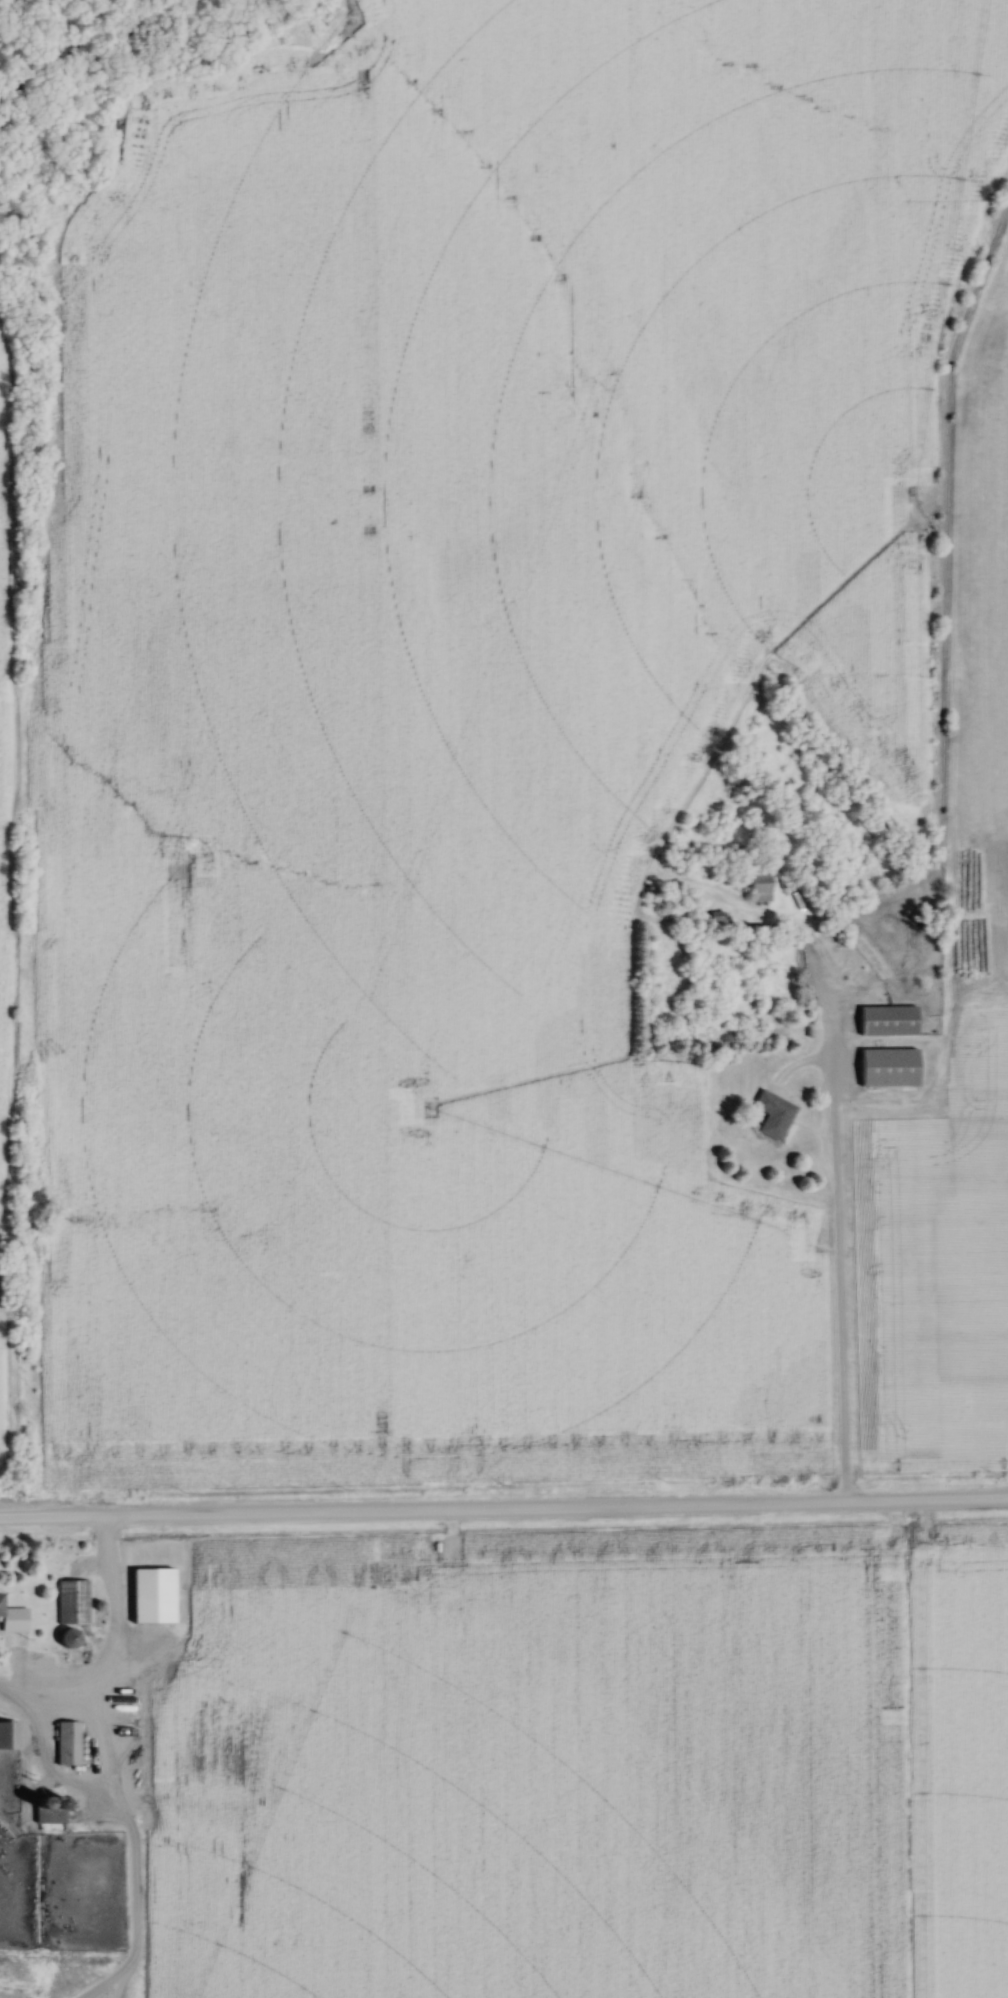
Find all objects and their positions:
building: (761, 886)
building: (890, 1020)
building: (890, 1066)
building: (775, 1113)
road: (834, 1255)
road: (504, 1512)
building: (154, 1595)
building: (73, 1602)
building: (2, 1606)
building: (71, 1638)
building: (5, 1735)
building: (68, 1743)
building: (52, 1811)
building: (88, 1855)

